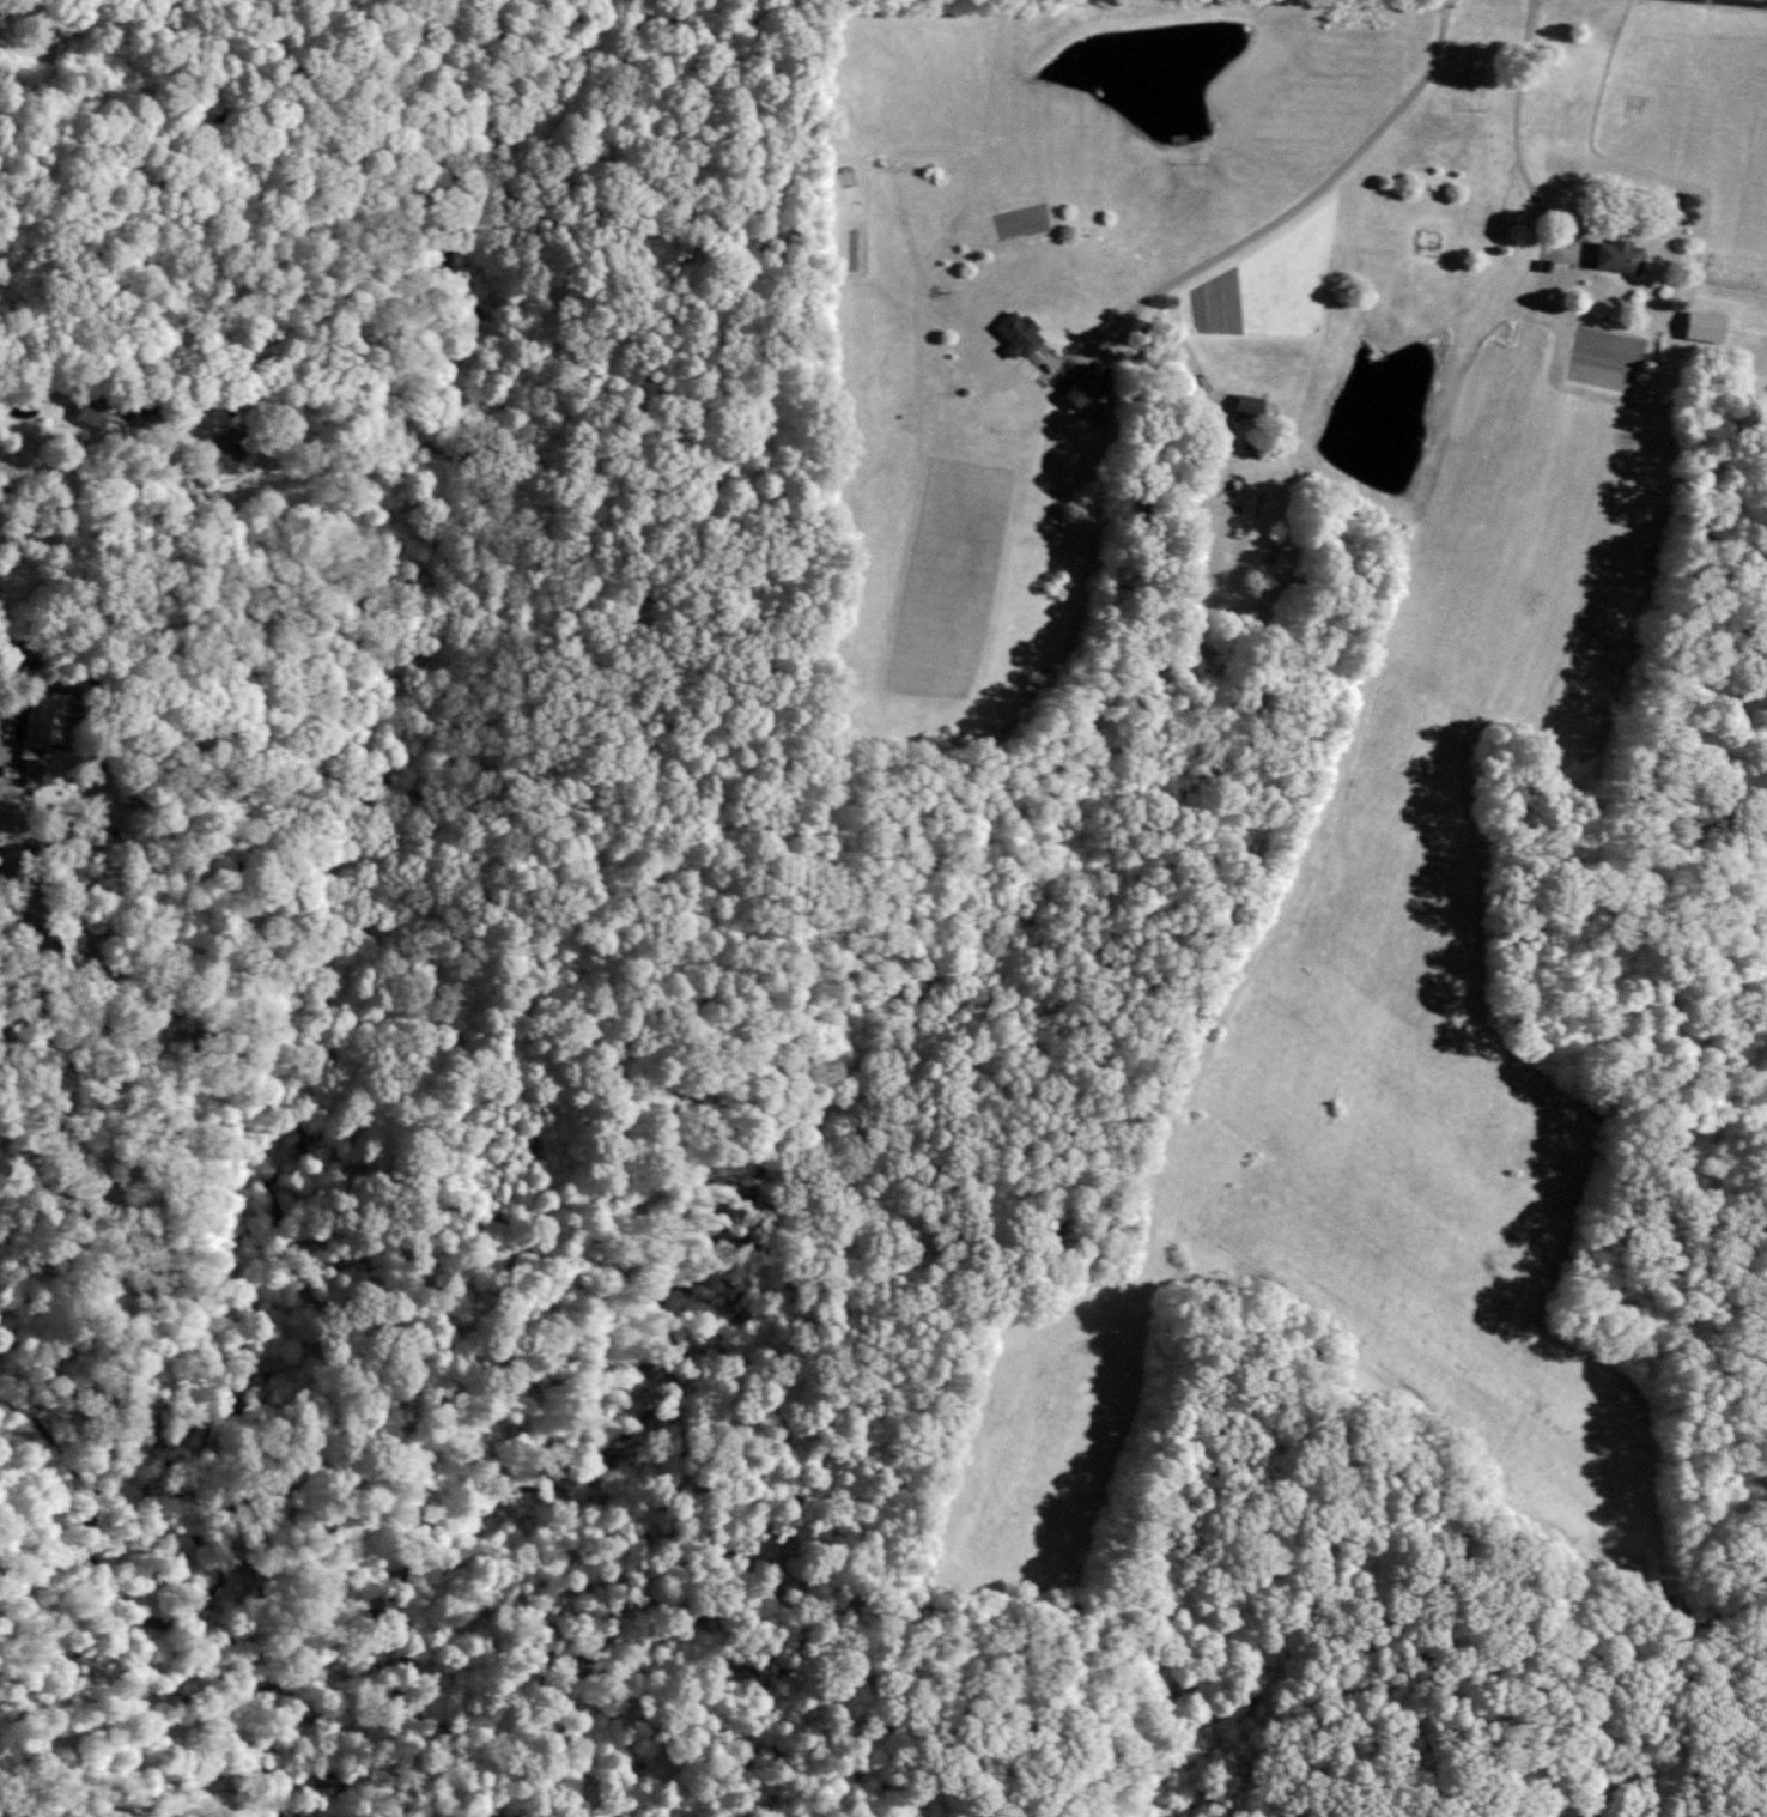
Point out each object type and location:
road: (1516, 132)
road: (1277, 213)
building: (1616, 255)
building: (1700, 325)
building: (1018, 337)
building: (1081, 386)
building: (1245, 405)
building: (93, 410)
building: (225, 447)
road: (95, 476)
road: (7, 719)
building: (35, 732)

